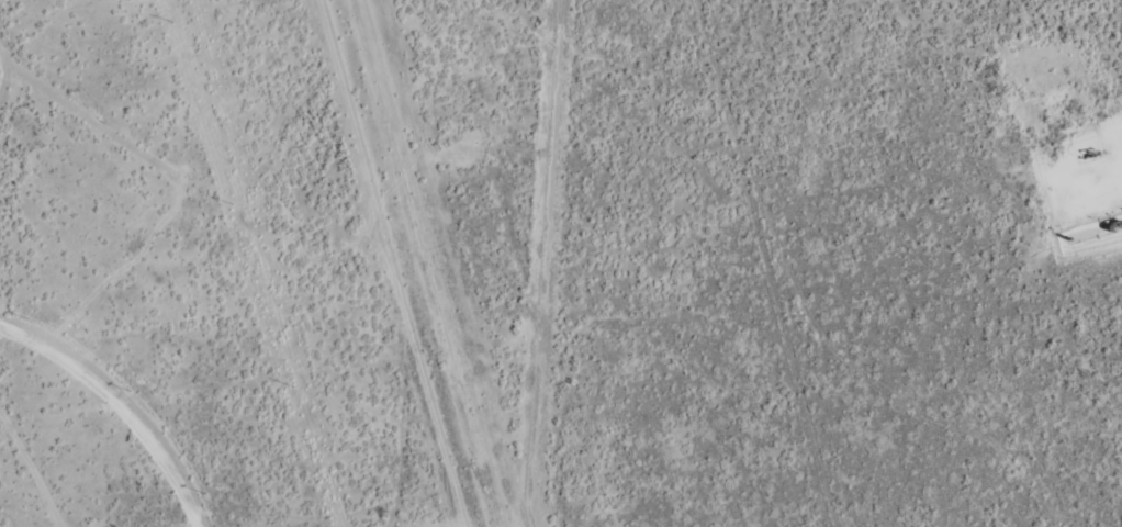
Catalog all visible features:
river: (26, 284)

